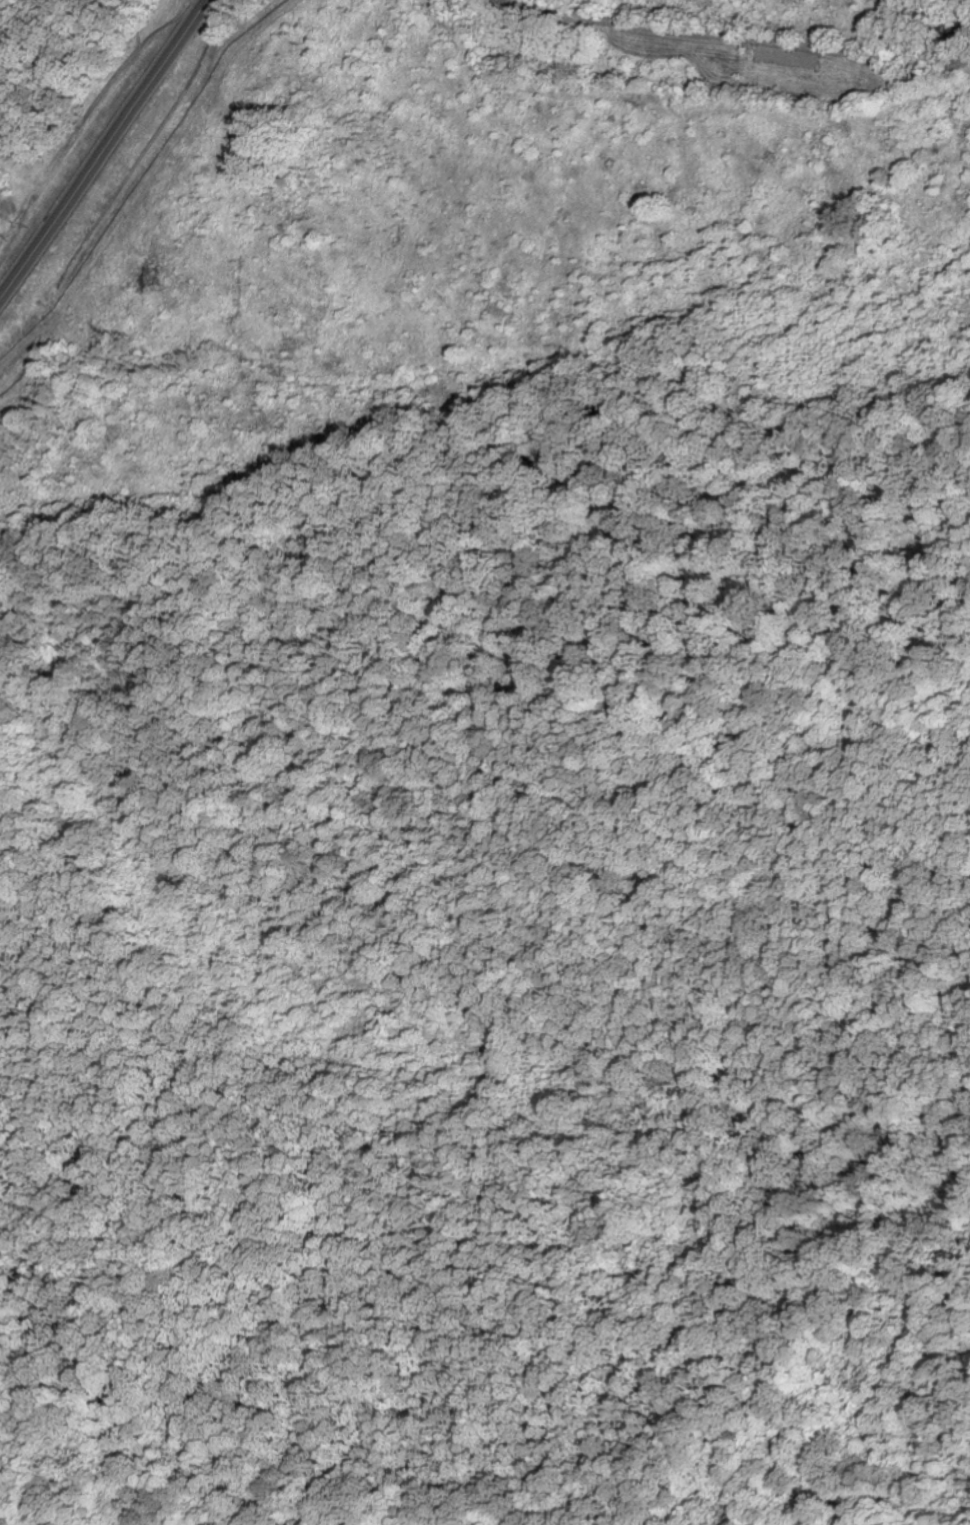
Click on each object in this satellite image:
road: (660, 38)
road: (745, 42)
road: (895, 80)
road: (106, 152)
road: (137, 174)
road: (472, 766)

